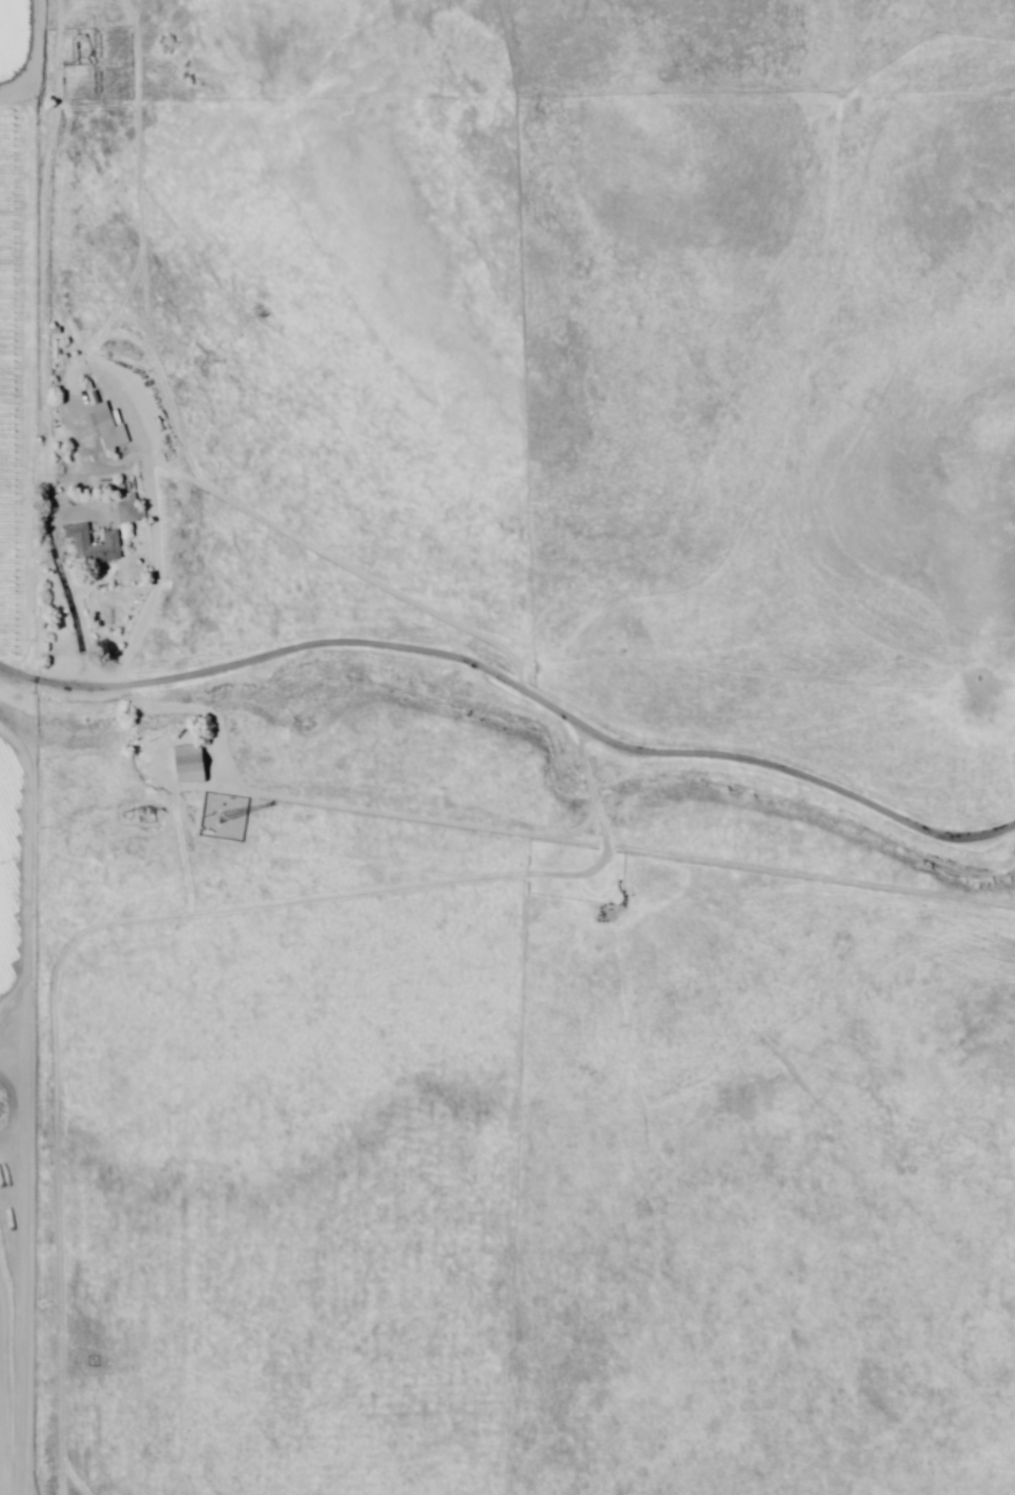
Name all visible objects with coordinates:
road: (44, 335)
road: (378, 347)
building: (102, 425)
building: (129, 513)
building: (109, 543)
road: (17, 668)
crop: (3, 678)
road: (512, 746)
building: (186, 765)

